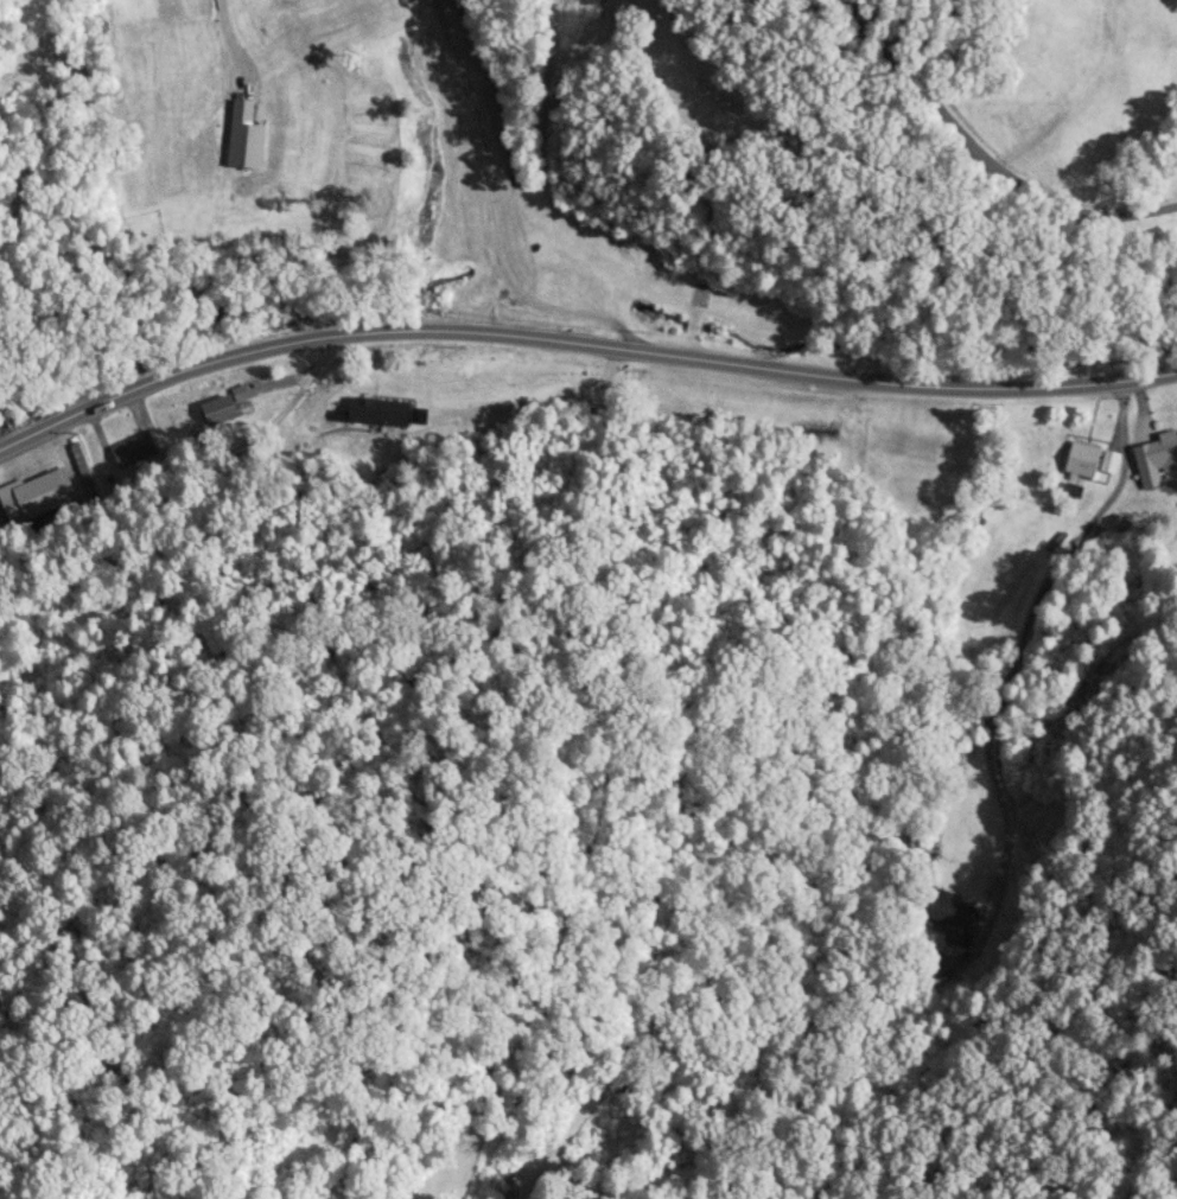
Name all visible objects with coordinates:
road: (580, 337)
building: (218, 409)
building: (134, 451)
building: (1154, 459)
building: (1081, 460)
building: (1108, 463)
building: (82, 468)
building: (31, 498)
road: (1013, 649)
building: (948, 923)
building: (516, 1194)

